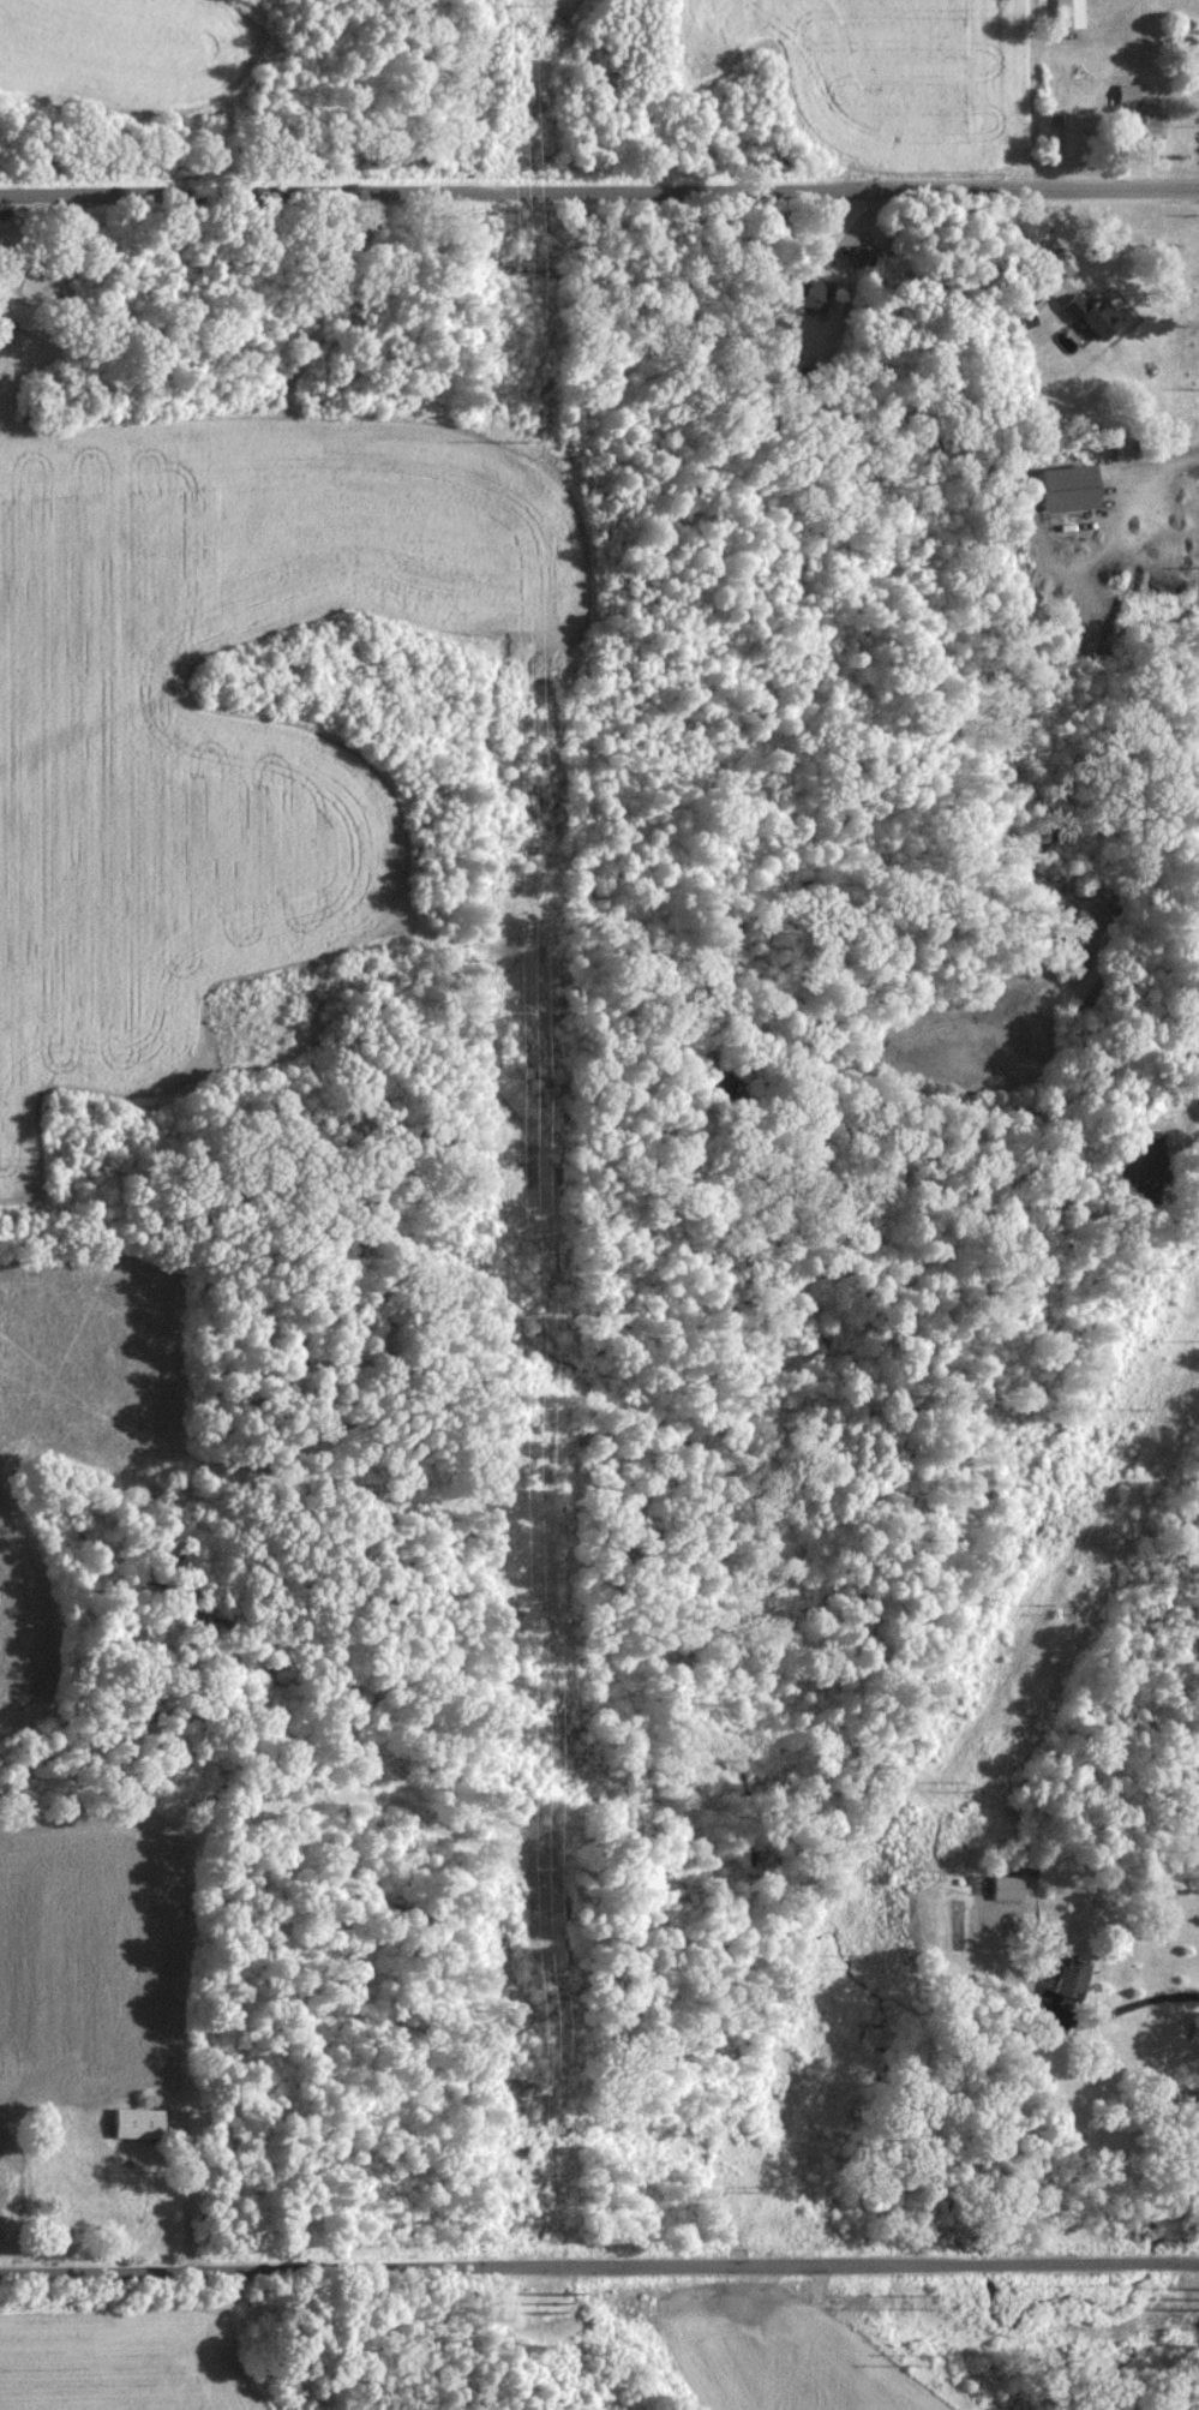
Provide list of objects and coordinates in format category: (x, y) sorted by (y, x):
building: (1069, 12)
building: (1144, 122)
road: (599, 189)
building: (864, 253)
building: (1065, 259)
building: (815, 293)
building: (16, 312)
building: (1093, 312)
building: (1068, 485)
building: (1008, 1886)
building: (1071, 1983)
road: (1128, 2009)
building: (138, 2121)
road: (599, 2266)

